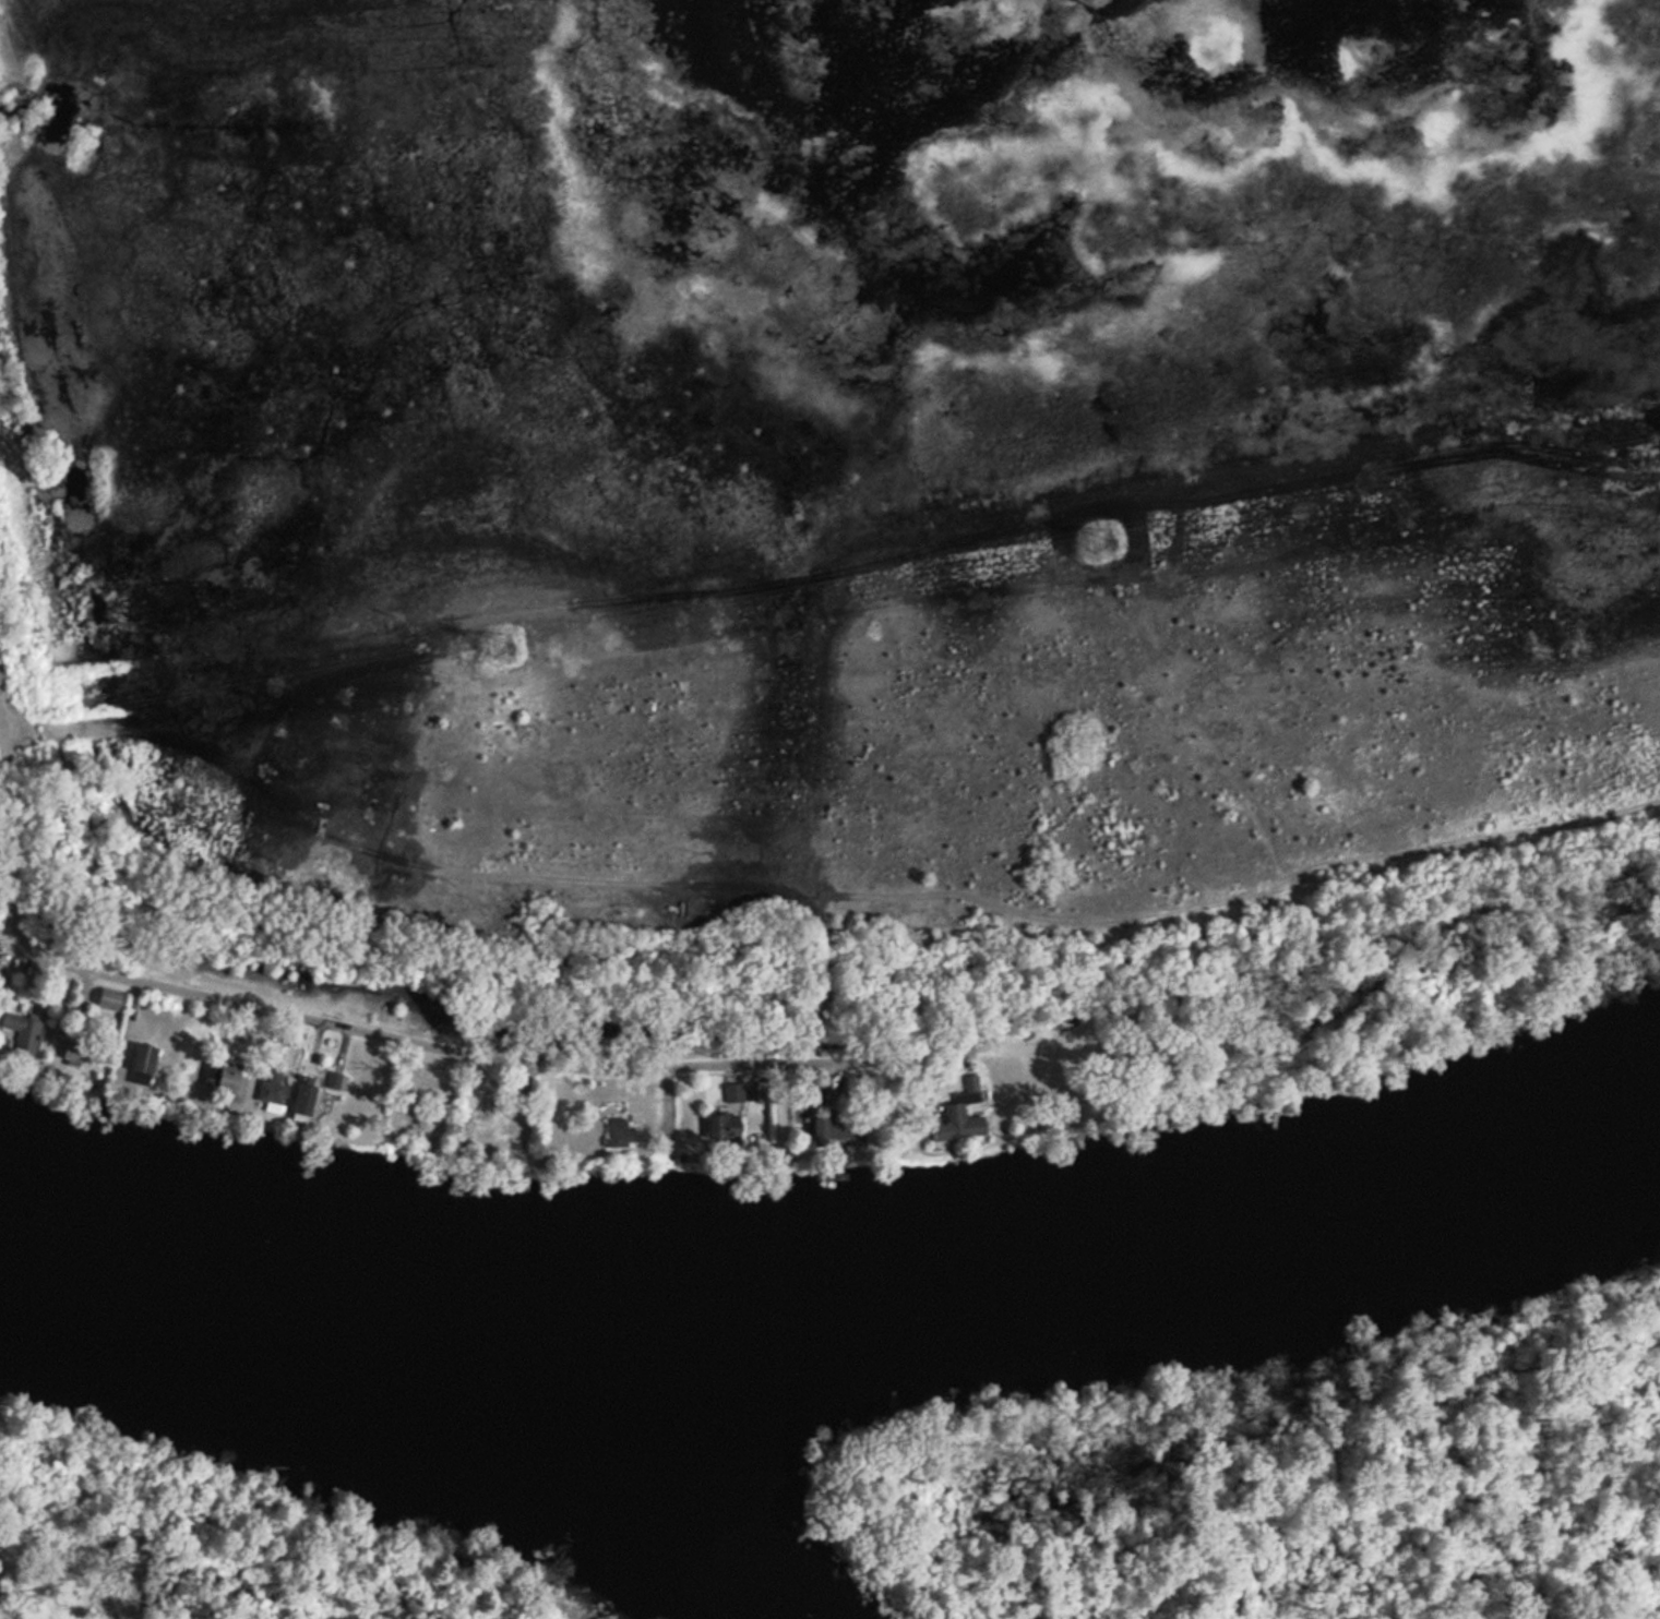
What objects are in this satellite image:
power tower: (1100, 543)
power tower: (502, 647)
road: (8, 795)
building: (406, 819)
road: (11, 937)
building: (112, 999)
building: (26, 1030)
building: (77, 1048)
road: (482, 1059)
building: (147, 1063)
building: (227, 1079)
building: (275, 1088)
building: (310, 1095)
building: (965, 1116)
building: (491, 1128)
building: (623, 1130)
river: (839, 1311)

